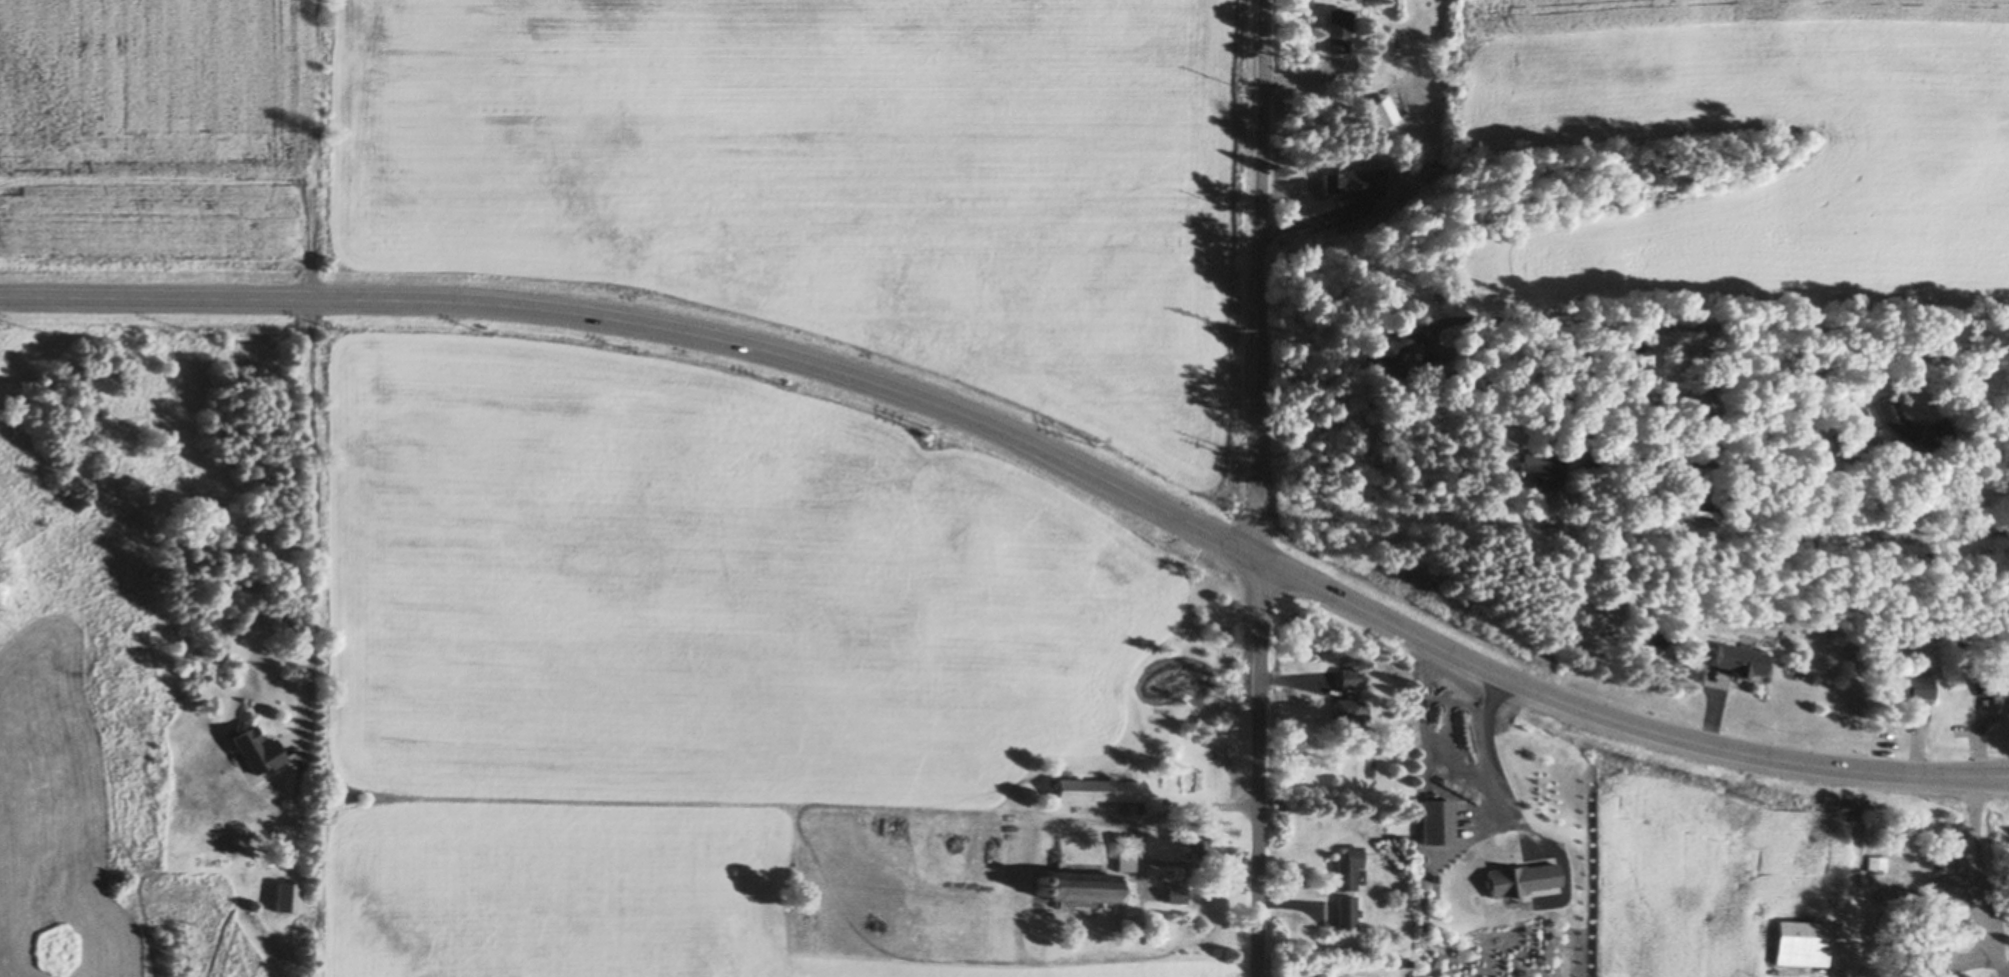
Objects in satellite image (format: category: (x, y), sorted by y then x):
building: (1337, 28)
building: (1384, 111)
building: (1375, 171)
building: (1335, 180)
road: (1260, 275)
road: (1746, 329)
building: (1393, 351)
building: (1425, 363)
road: (1587, 408)
building: (1912, 424)
building: (1851, 437)
road: (1028, 444)
building: (1852, 448)
building: (1589, 455)
building: (1651, 455)
building: (1538, 463)
building: (1695, 497)
building: (1667, 503)
road: (311, 521)
building: (1655, 638)
building: (1741, 658)
building: (1350, 677)
building: (1895, 681)
building: (1997, 684)
building: (1350, 714)
building: (256, 750)
road: (1258, 763)
road: (1501, 764)
building: (1024, 789)
building: (1101, 789)
building: (1406, 799)
building: (1140, 807)
road: (1141, 840)
building: (1195, 843)
building: (1124, 854)
building: (1877, 862)
building: (1347, 867)
road: (1985, 878)
building: (1041, 880)
building: (1085, 888)
building: (1040, 890)
building: (1177, 893)
building: (288, 897)
building: (1897, 898)
building: (1917, 899)
building: (1949, 905)
building: (1345, 912)
building: (1125, 926)
building: (1141, 928)
building: (1064, 938)
building: (1801, 943)
building: (1930, 959)
building: (1408, 962)

